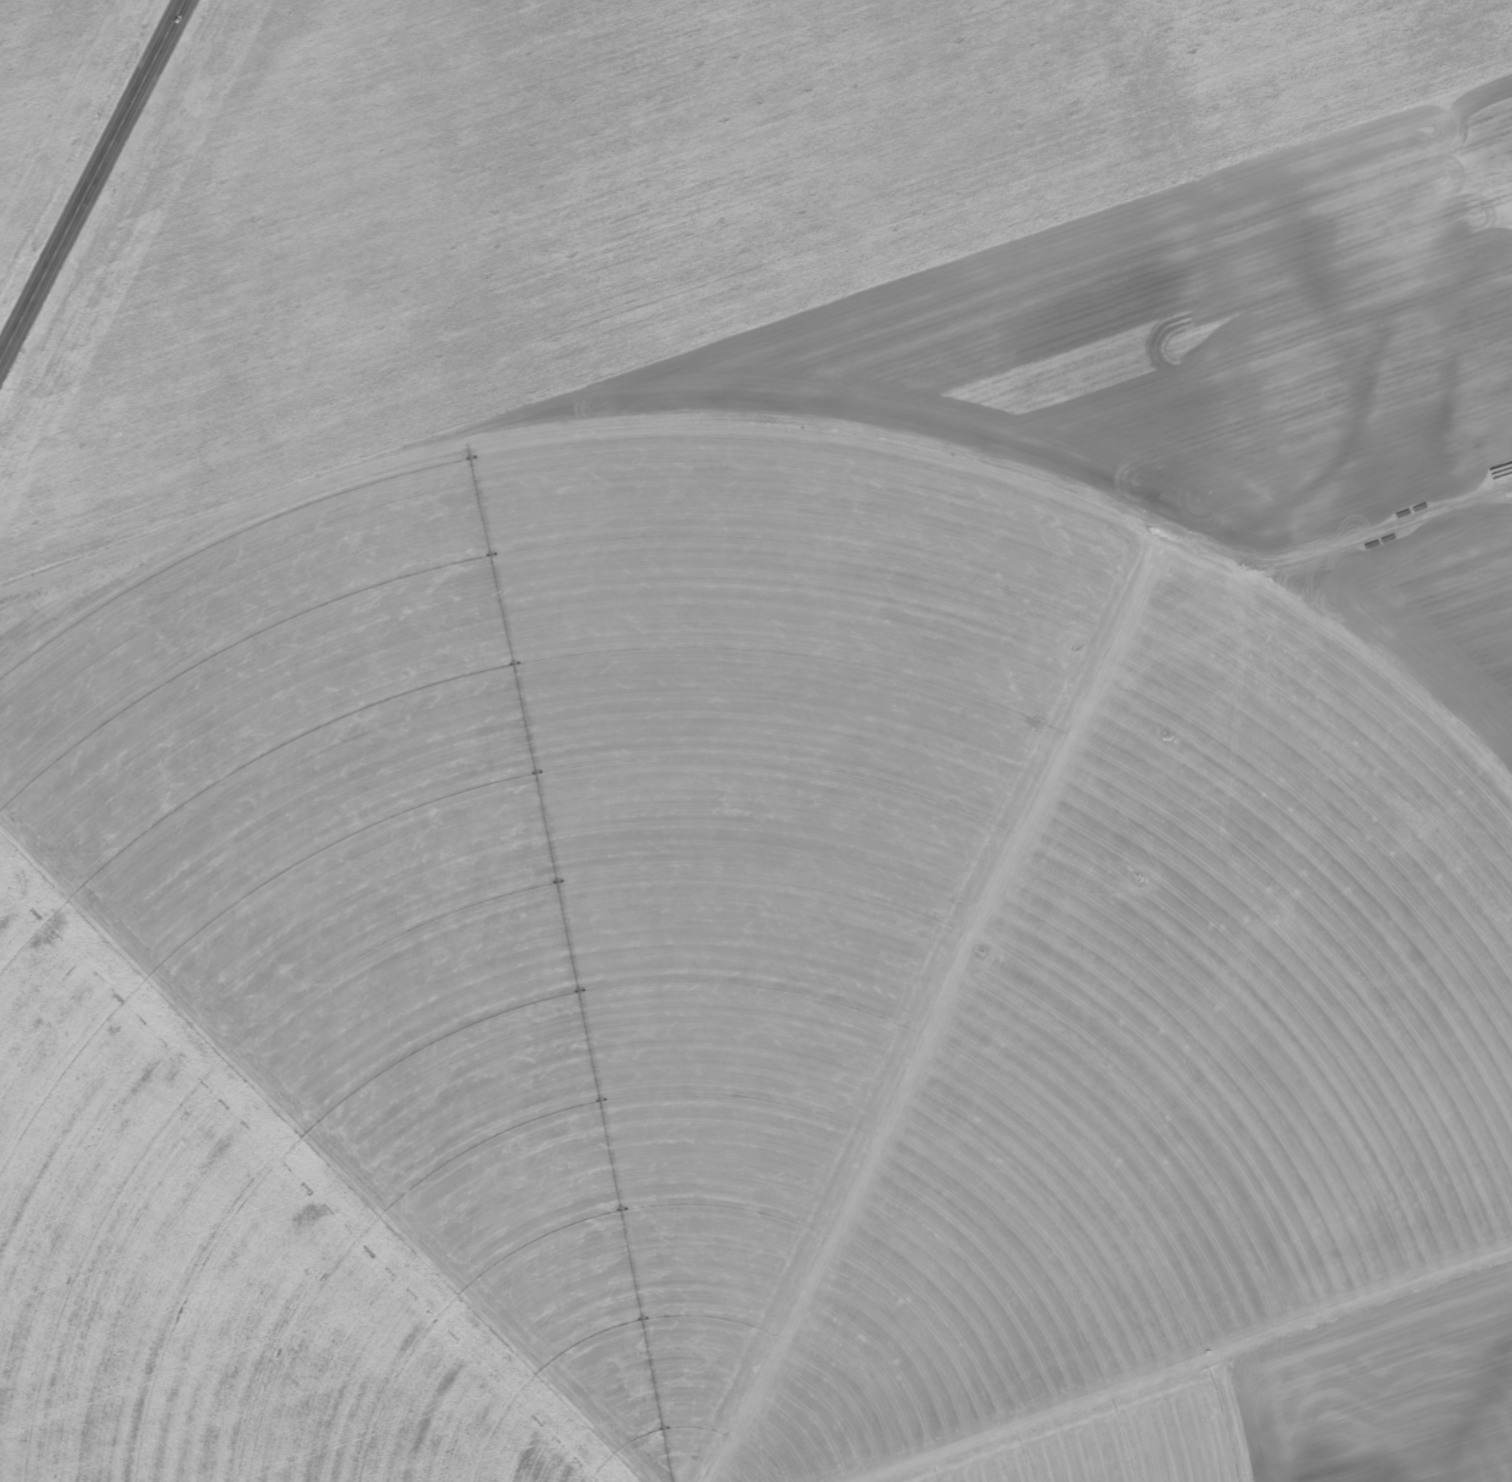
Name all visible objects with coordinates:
road: (91, 179)
building: (1491, 335)
building: (1500, 453)
road: (1322, 576)
road: (756, 721)

